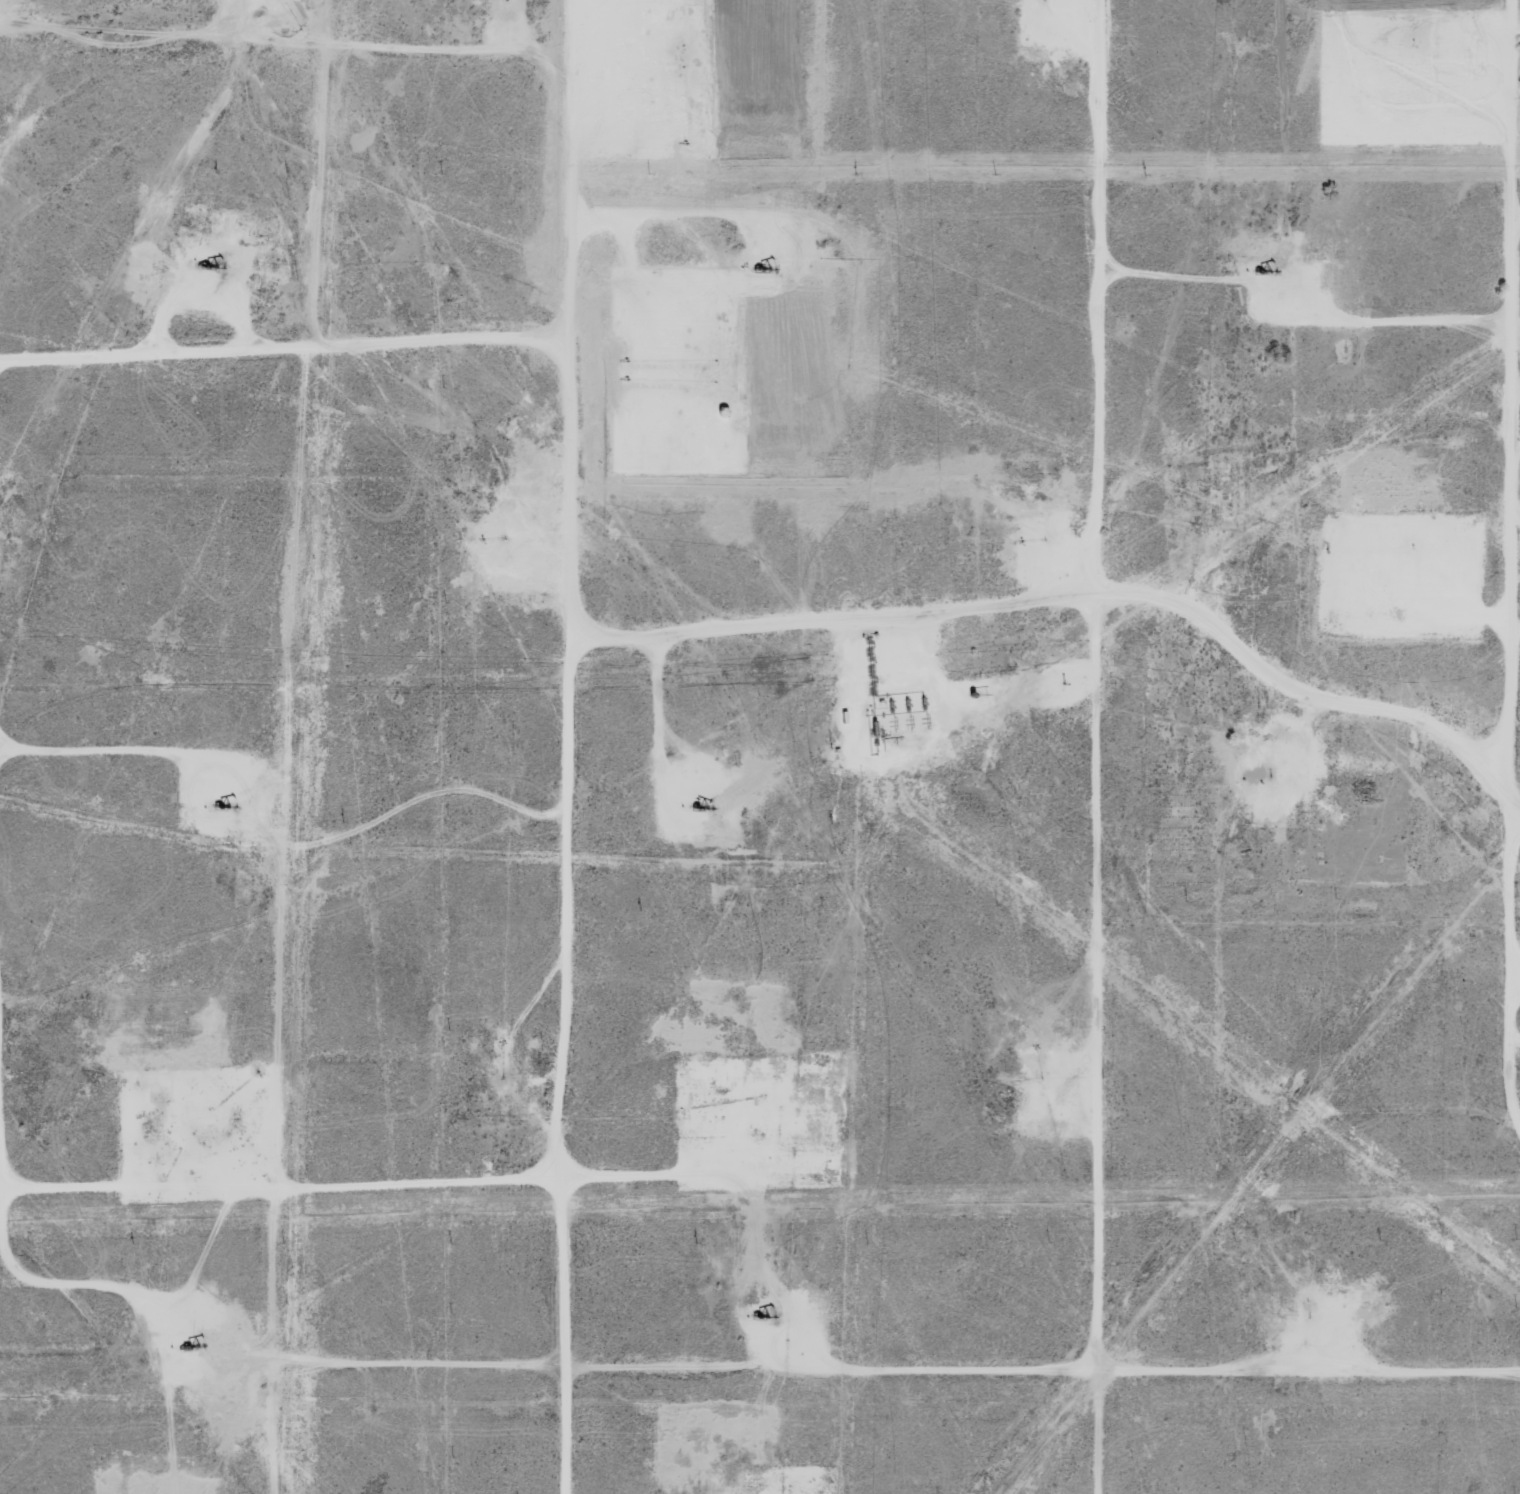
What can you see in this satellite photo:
road: (299, 44)
road: (1404, 317)
road: (294, 350)
road: (1083, 597)
road: (592, 746)
road: (1093, 747)
river: (413, 754)
road: (3, 898)

